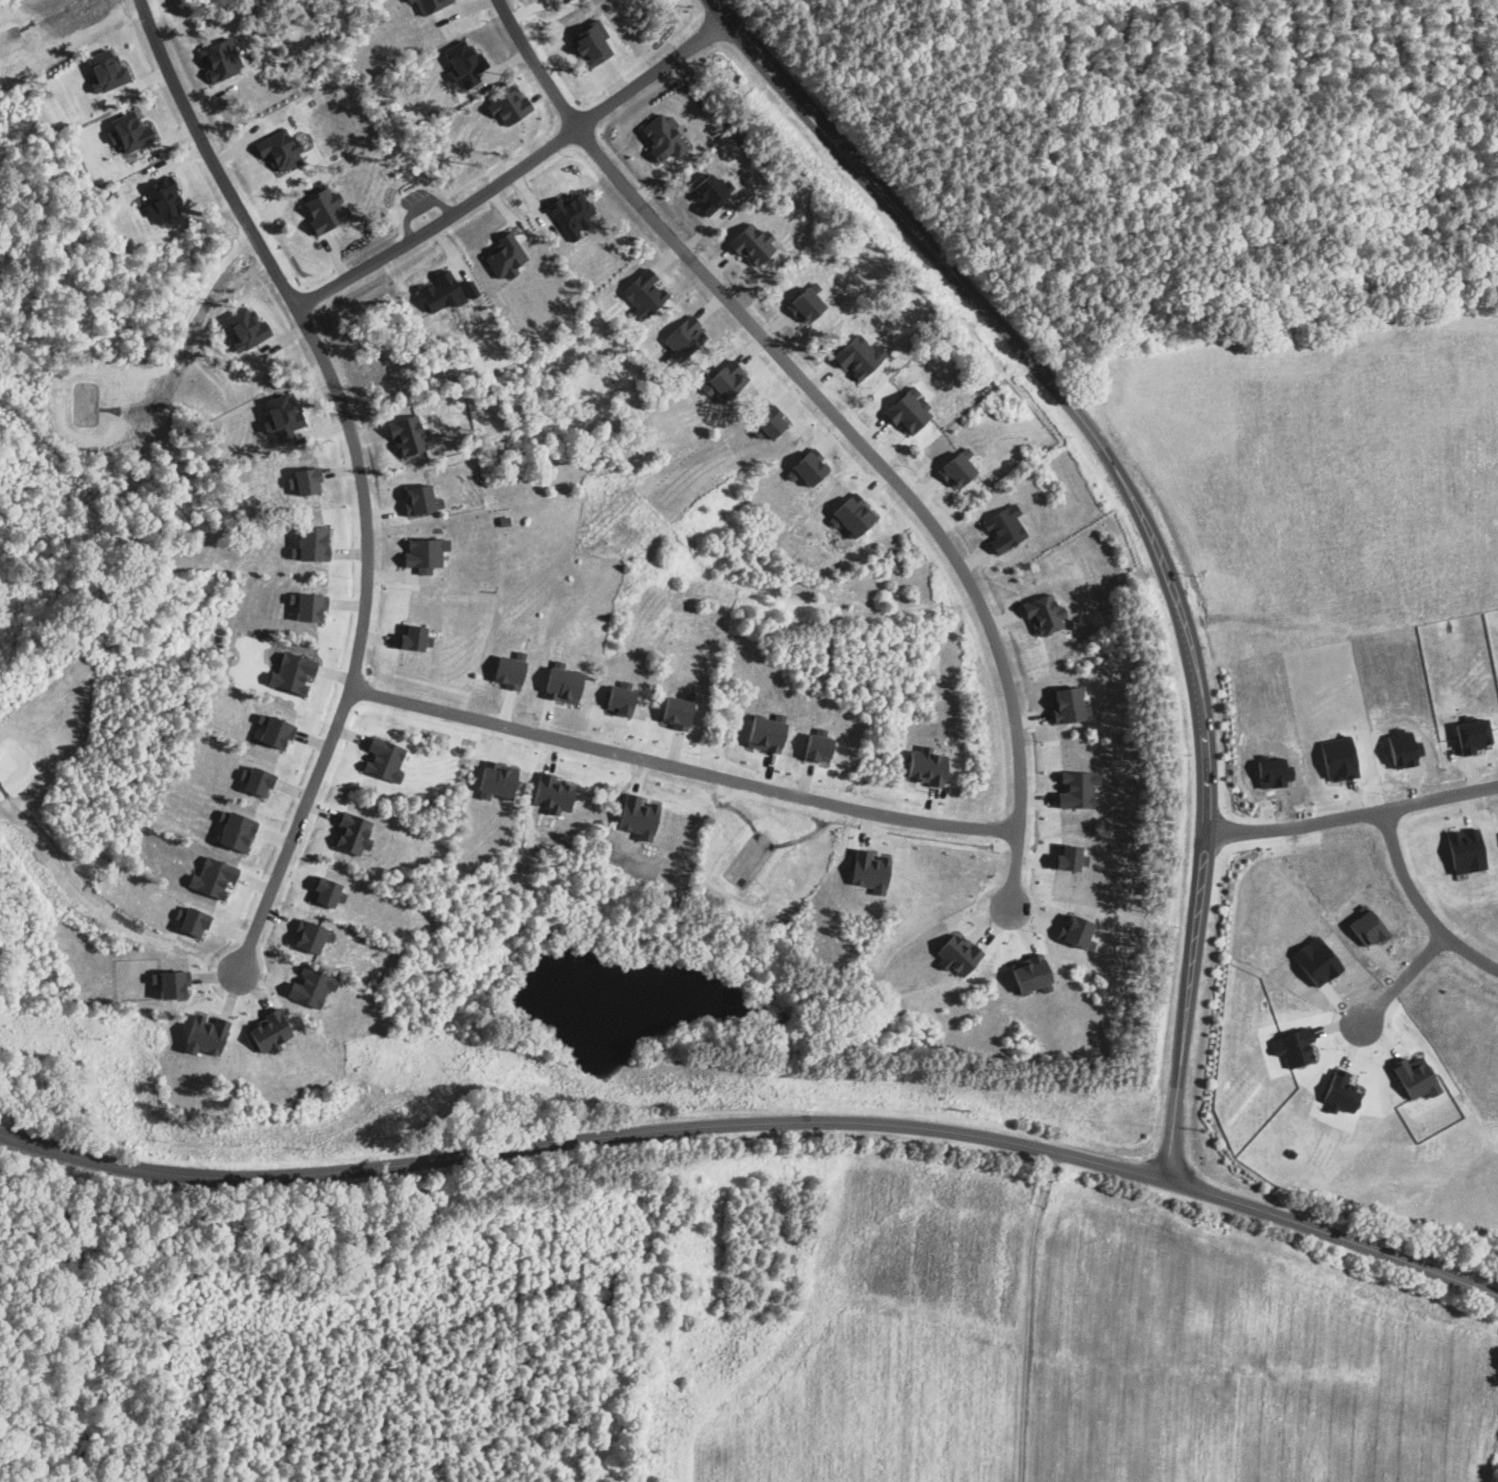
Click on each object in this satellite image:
road: (516, 169)
road: (838, 419)
road: (360, 473)
road: (1140, 518)
road: (681, 767)
road: (1351, 816)
road: (1419, 904)
road: (1404, 978)
road: (757, 1123)
road: (1025, 1315)

